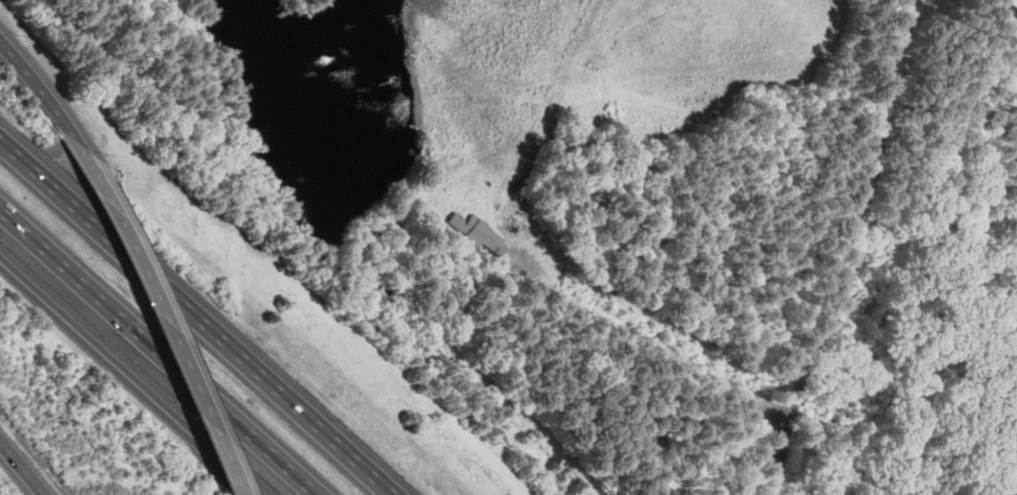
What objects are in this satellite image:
building: (1002, 23)
street lamp: (16, 33)
road: (37, 89)
street lamp: (104, 152)
road: (849, 213)
building: (515, 228)
building: (479, 232)
road: (158, 314)
road: (194, 318)
road: (650, 341)
road: (158, 352)
road: (129, 379)
street lamp: (96, 409)
road: (779, 459)
road: (21, 468)

